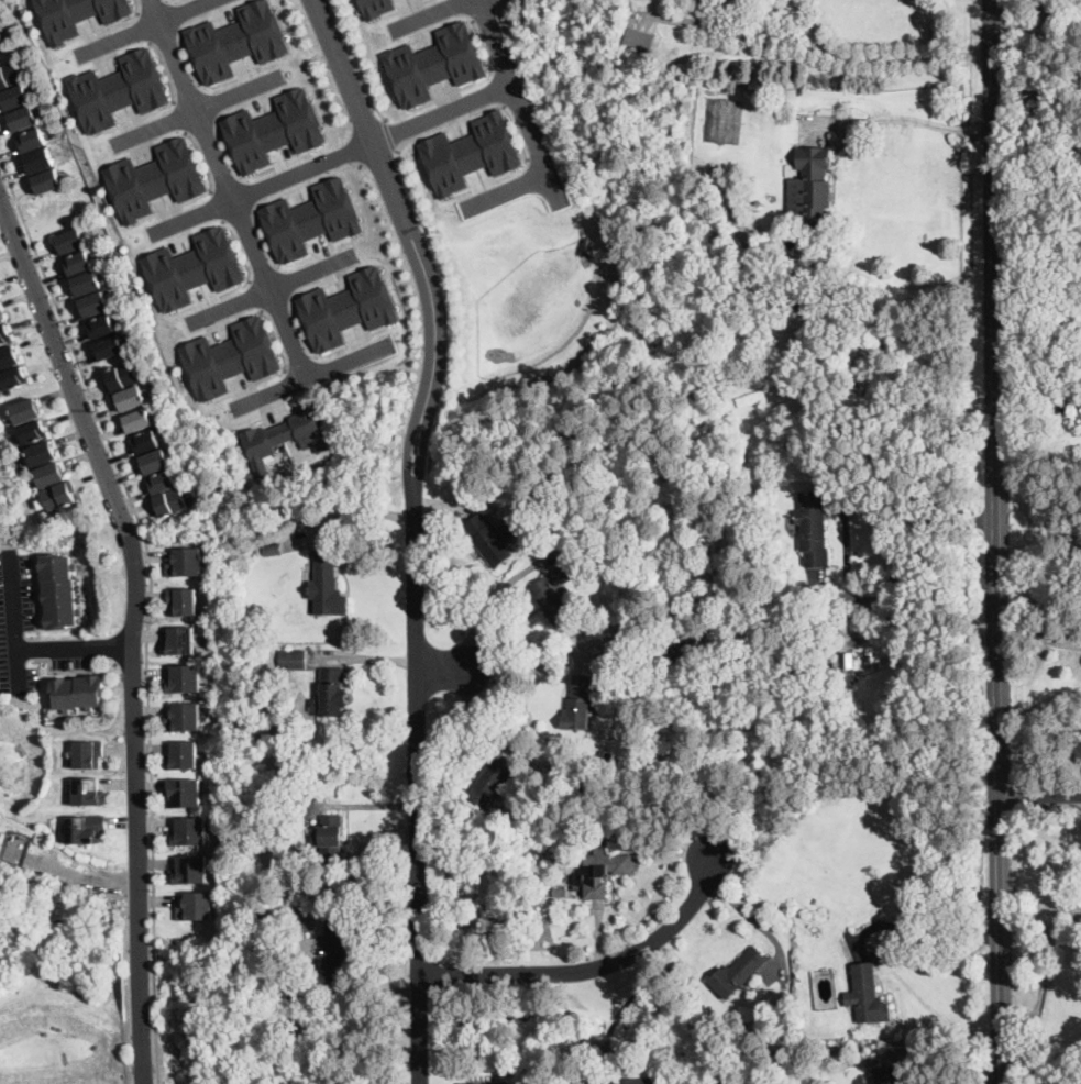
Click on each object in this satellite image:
building: (376, 7)
building: (77, 14)
road: (428, 15)
road: (144, 29)
building: (619, 38)
building: (238, 40)
building: (639, 41)
building: (2, 43)
road: (880, 57)
road: (357, 62)
building: (434, 63)
building: (10, 75)
road: (515, 87)
road: (1038, 88)
building: (120, 89)
building: (15, 98)
road: (199, 110)
building: (24, 119)
road: (919, 119)
building: (275, 129)
road: (390, 132)
building: (33, 140)
building: (472, 152)
road: (333, 158)
road: (380, 158)
building: (40, 161)
building: (158, 178)
building: (47, 181)
road: (305, 182)
building: (810, 188)
road: (229, 190)
road: (508, 191)
building: (311, 218)
road: (424, 223)
building: (70, 241)
building: (79, 264)
building: (194, 268)
building: (87, 284)
road: (272, 289)
building: (746, 291)
building: (795, 301)
building: (95, 305)
building: (349, 308)
building: (1, 317)
building: (102, 327)
building: (4, 334)
building: (793, 339)
building: (111, 347)
building: (8, 357)
building: (231, 357)
building: (122, 376)
building: (14, 377)
road: (311, 379)
building: (131, 398)
road: (995, 398)
building: (26, 411)
building: (9, 416)
building: (139, 421)
building: (33, 432)
building: (286, 436)
building: (146, 442)
building: (42, 454)
building: (155, 462)
building: (490, 465)
building: (51, 475)
building: (163, 482)
building: (60, 496)
building: (169, 502)
road: (417, 528)
building: (814, 528)
building: (492, 539)
building: (619, 545)
road: (132, 546)
road: (913, 547)
building: (273, 550)
building: (261, 551)
building: (186, 562)
building: (609, 571)
building: (327, 586)
building: (58, 590)
building: (553, 595)
building: (184, 599)
road: (488, 605)
road: (151, 607)
road: (12, 621)
building: (268, 634)
building: (180, 640)
building: (686, 644)
road: (75, 650)
building: (293, 659)
building: (843, 664)
road: (519, 667)
road: (441, 670)
building: (185, 677)
building: (78, 692)
building: (332, 694)
building: (578, 704)
building: (185, 717)
road: (497, 733)
building: (88, 752)
building: (184, 754)
building: (490, 781)
building: (88, 790)
building: (185, 793)
road: (1038, 796)
building: (909, 809)
building: (86, 827)
building: (189, 830)
building: (330, 838)
building: (540, 849)
building: (190, 869)
building: (602, 873)
building: (561, 893)
building: (197, 905)
building: (262, 917)
road: (935, 938)
road: (1000, 940)
building: (567, 947)
building: (335, 949)
road: (594, 970)
building: (738, 973)
road: (146, 974)
road: (643, 985)
building: (867, 995)
building: (818, 1005)
building: (787, 1009)
road: (613, 1021)
building: (699, 1026)
road: (608, 1040)
road: (148, 1054)
building: (885, 1075)
building: (637, 1081)
building: (483, 1083)

